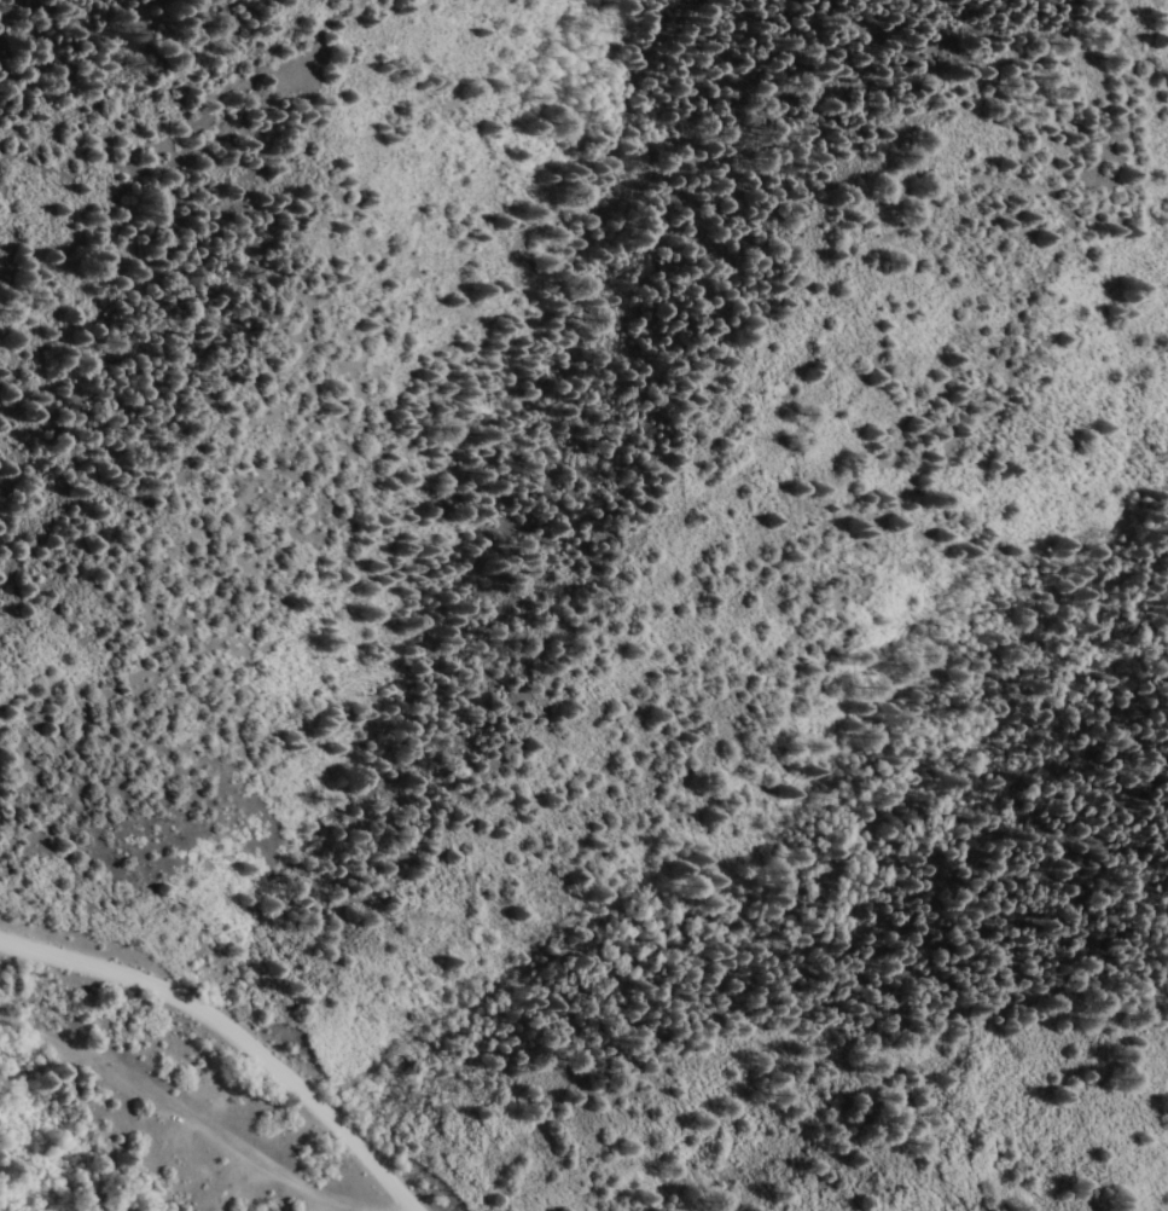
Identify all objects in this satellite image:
road: (229, 1033)

